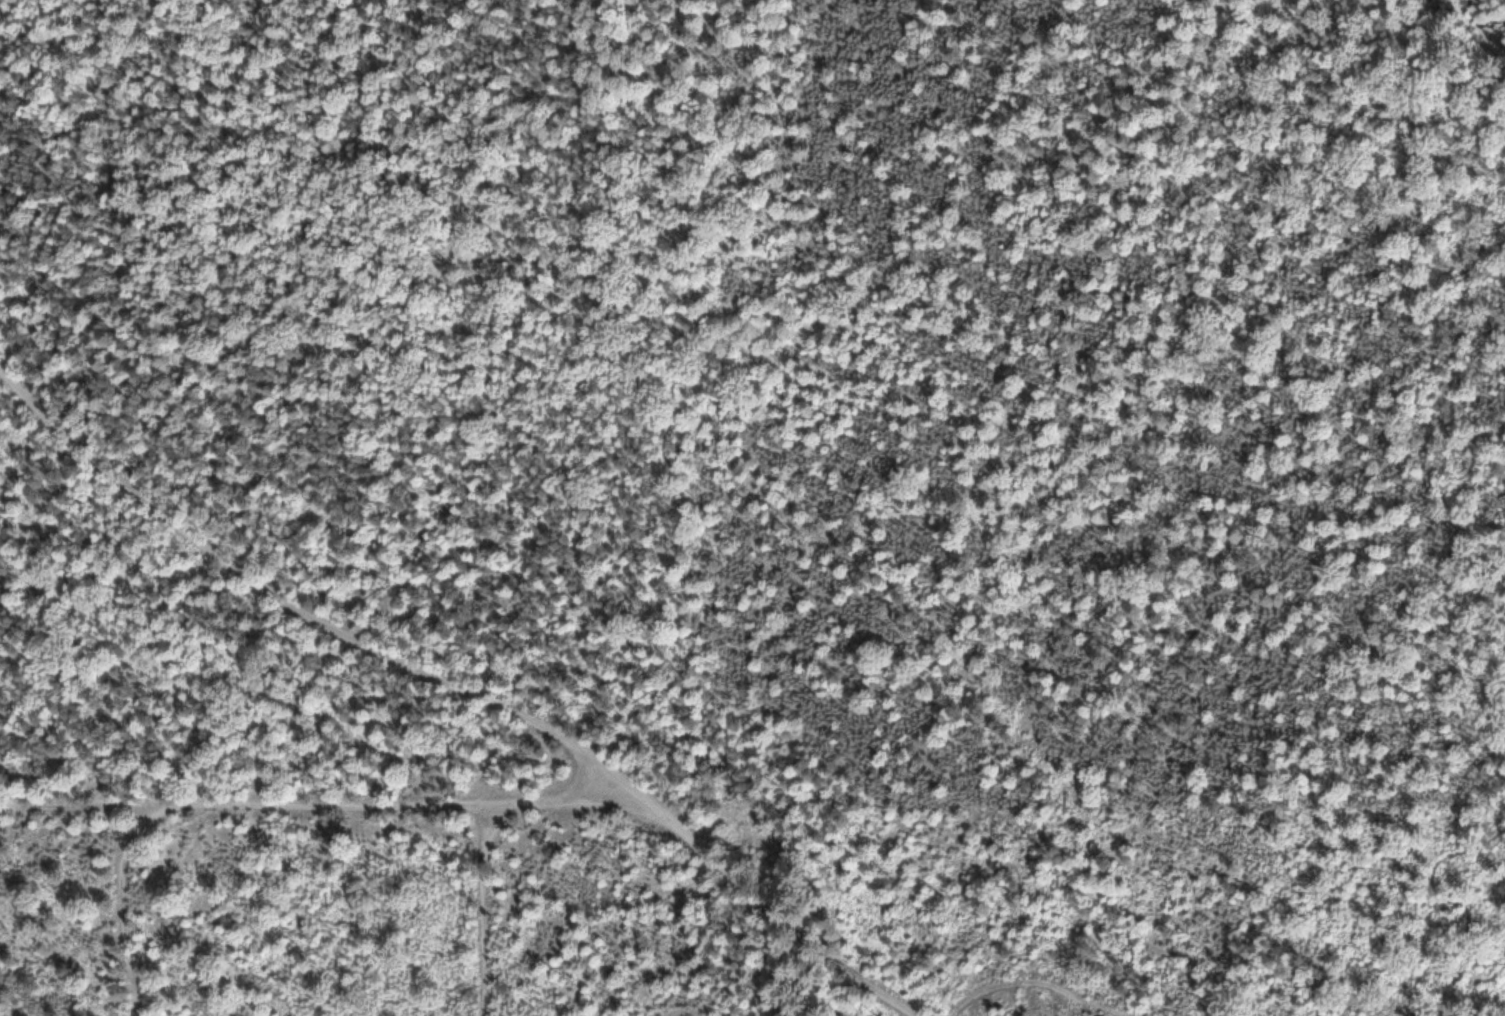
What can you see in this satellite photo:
road: (665, 459)
road: (462, 692)
road: (328, 804)
road: (82, 805)
road: (485, 839)
road: (1448, 902)
road: (125, 903)

